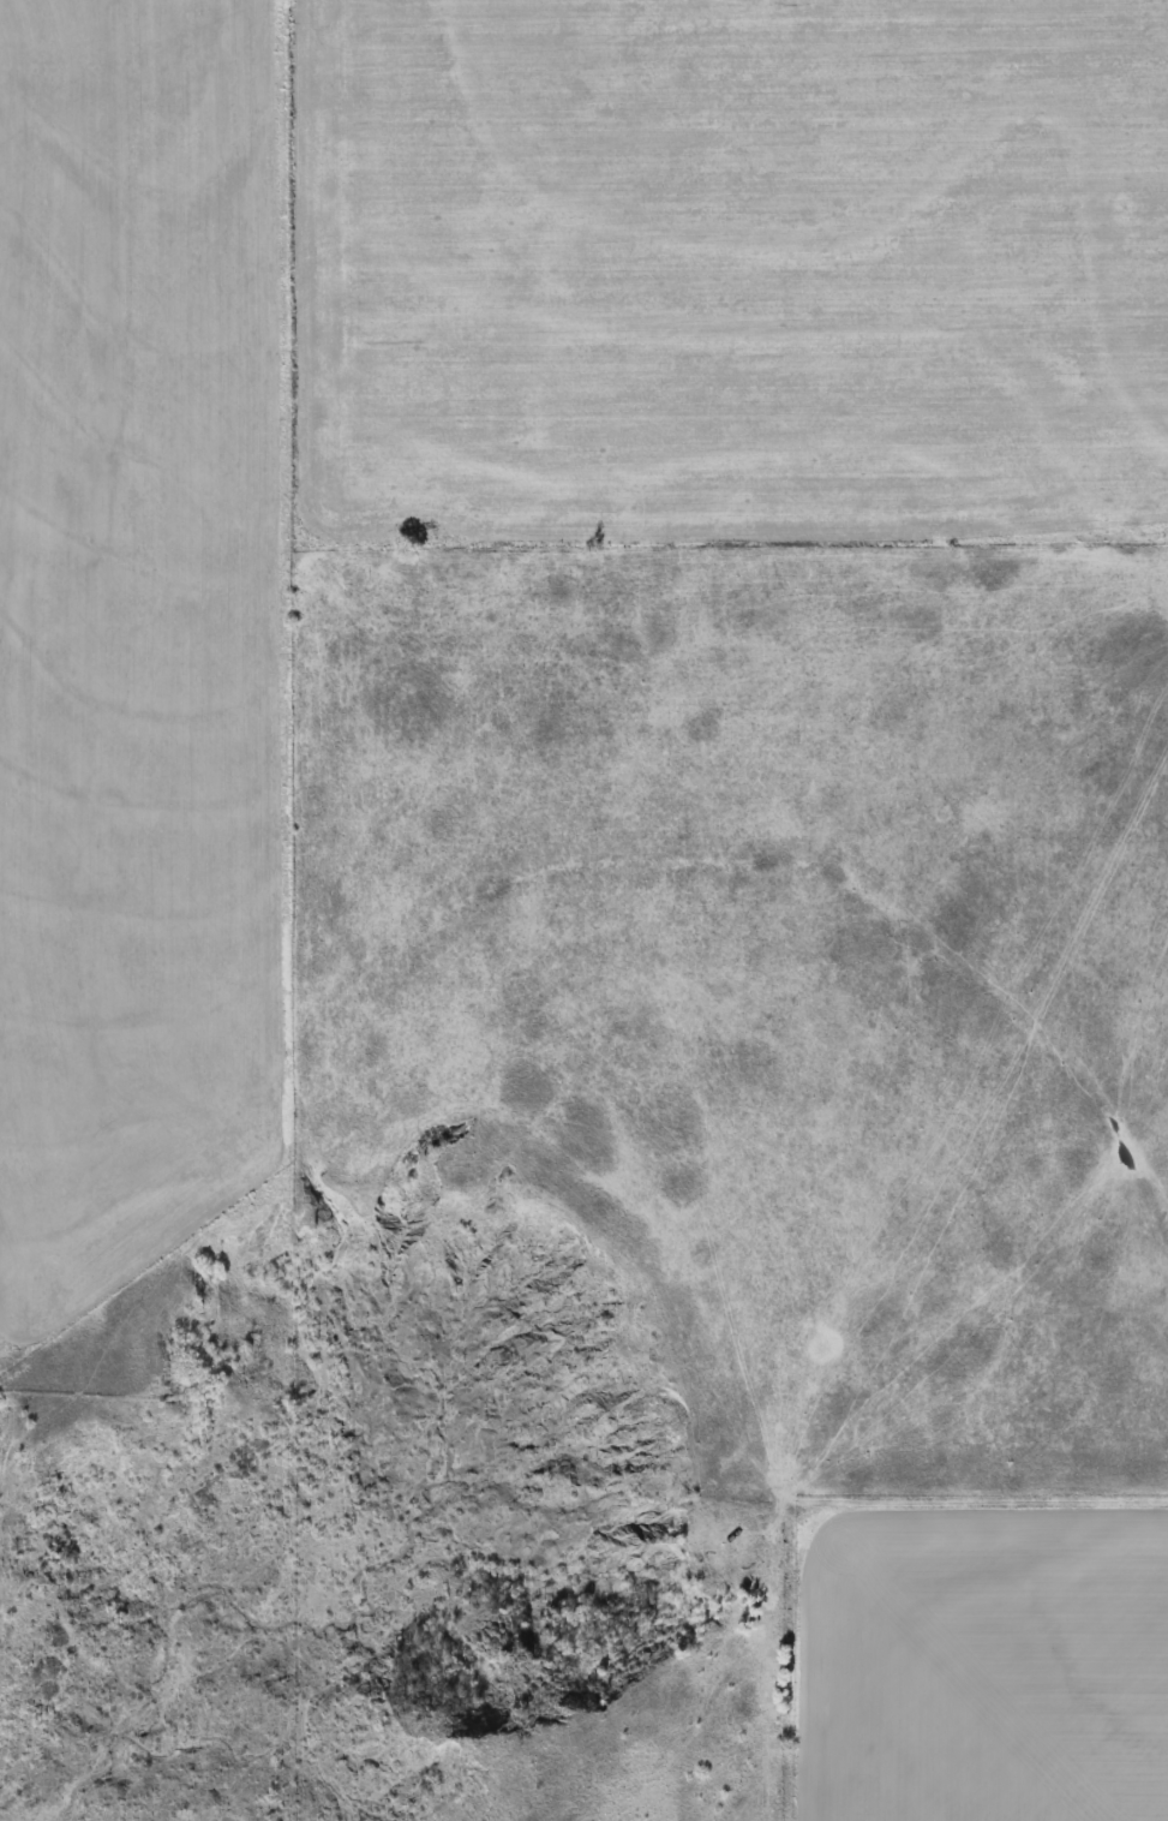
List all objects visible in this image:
road: (850, 1571)

